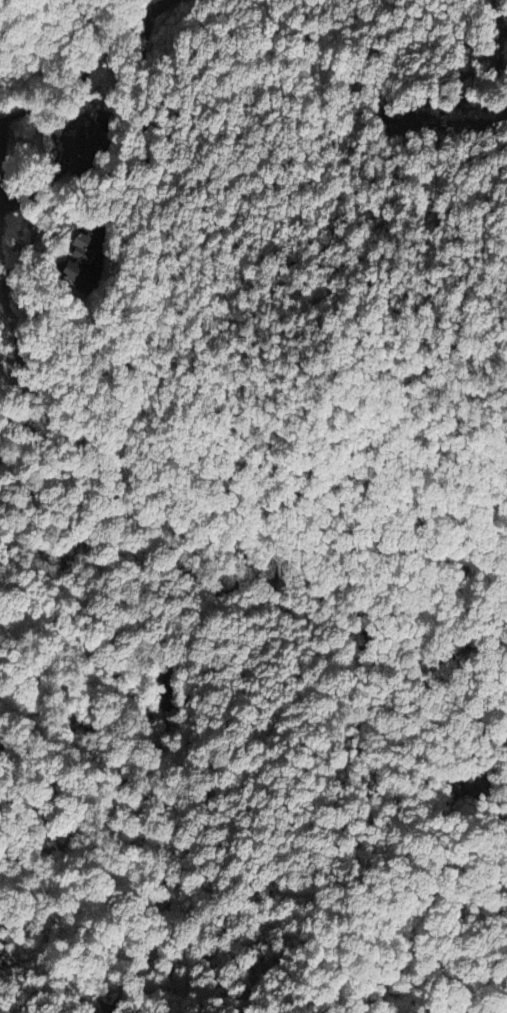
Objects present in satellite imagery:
road: (157, 4)
road: (147, 29)
building: (94, 137)
road: (8, 199)
building: (77, 264)

